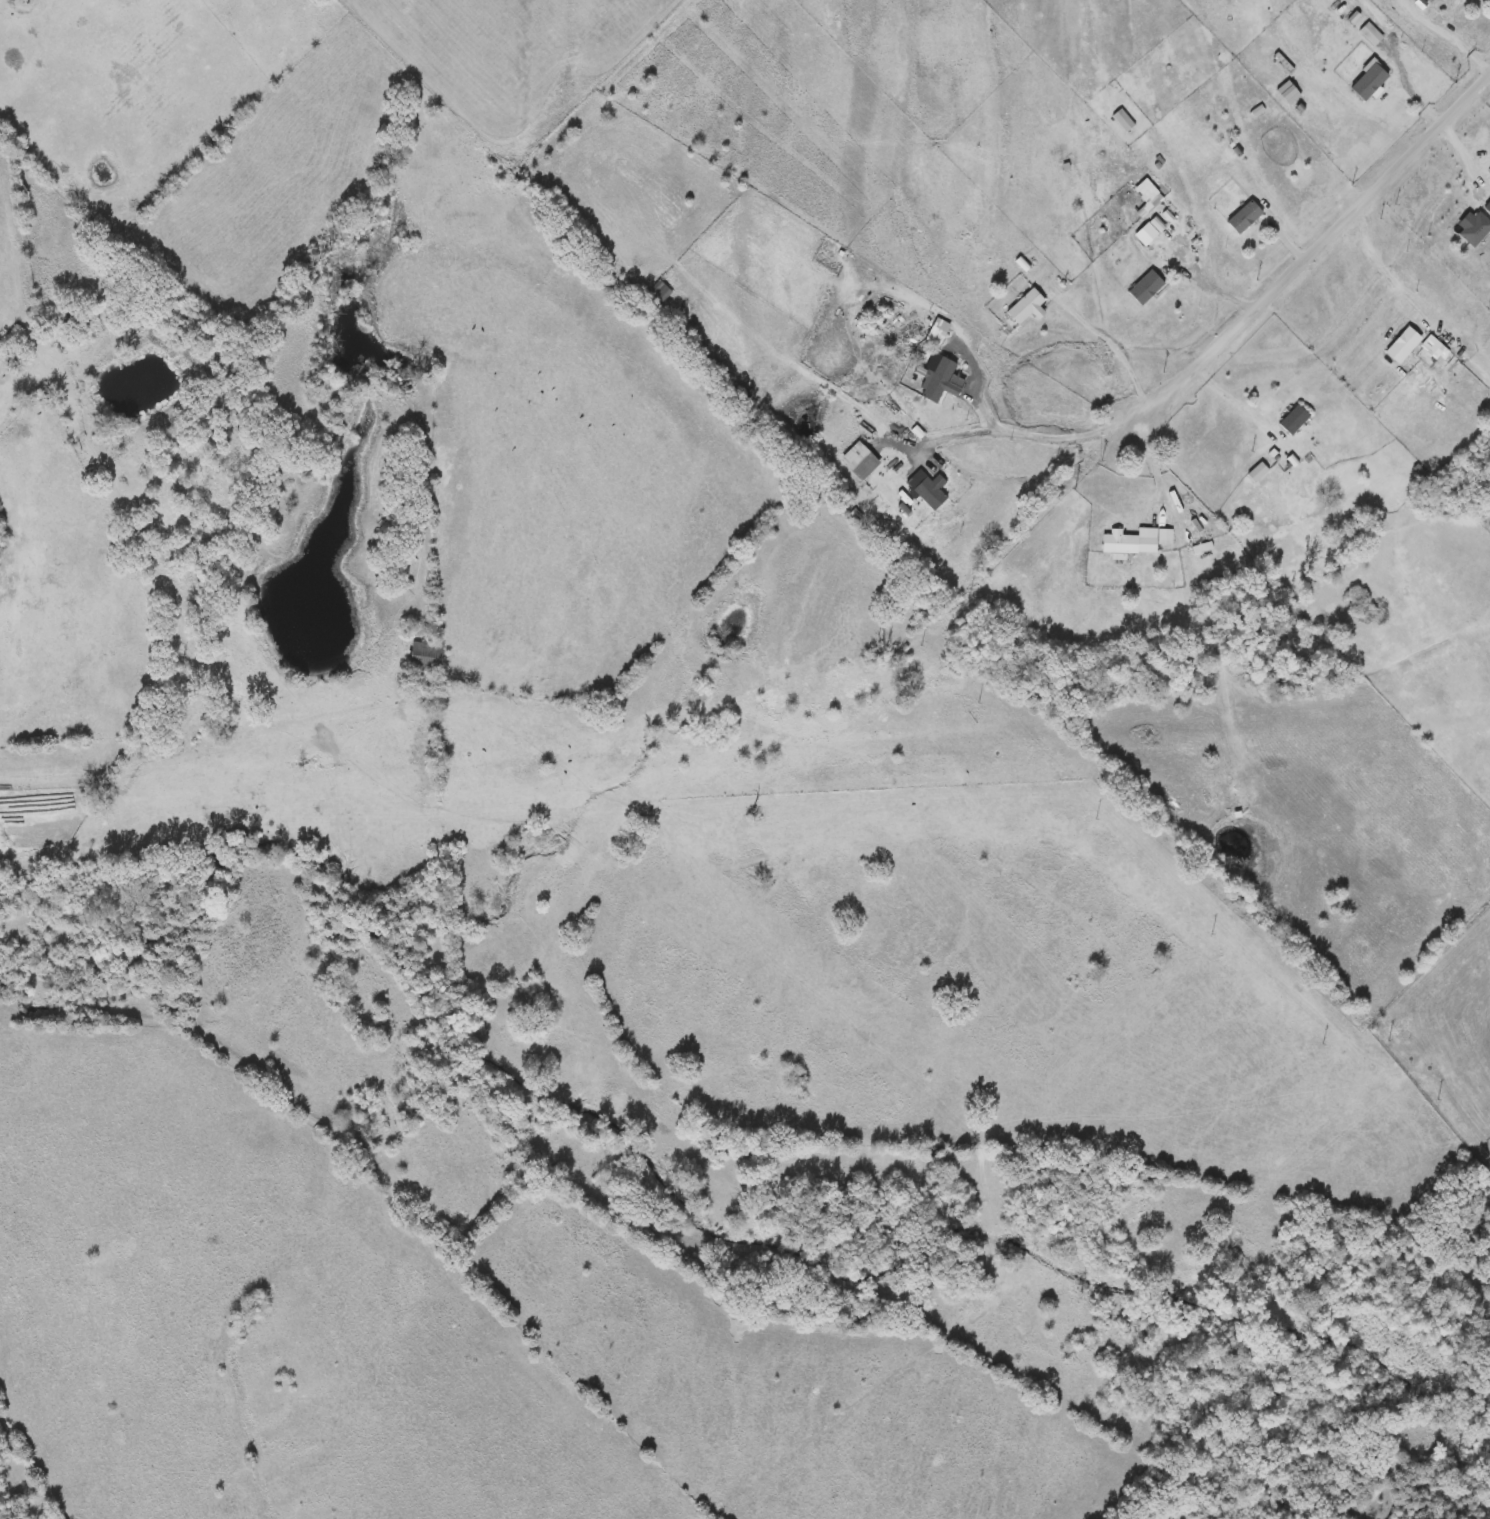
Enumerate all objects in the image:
road: (1447, 35)
road: (1401, 59)
building: (1121, 121)
building: (1487, 207)
building: (1242, 217)
building: (1473, 230)
road: (1382, 266)
road: (1211, 283)
building: (657, 294)
road: (20, 295)
building: (1024, 308)
road: (1223, 340)
road: (1118, 344)
road: (55, 394)
road: (1233, 394)
building: (1291, 420)
road: (1038, 432)
road: (1156, 464)
building: (928, 494)
building: (1128, 542)
building: (429, 657)

